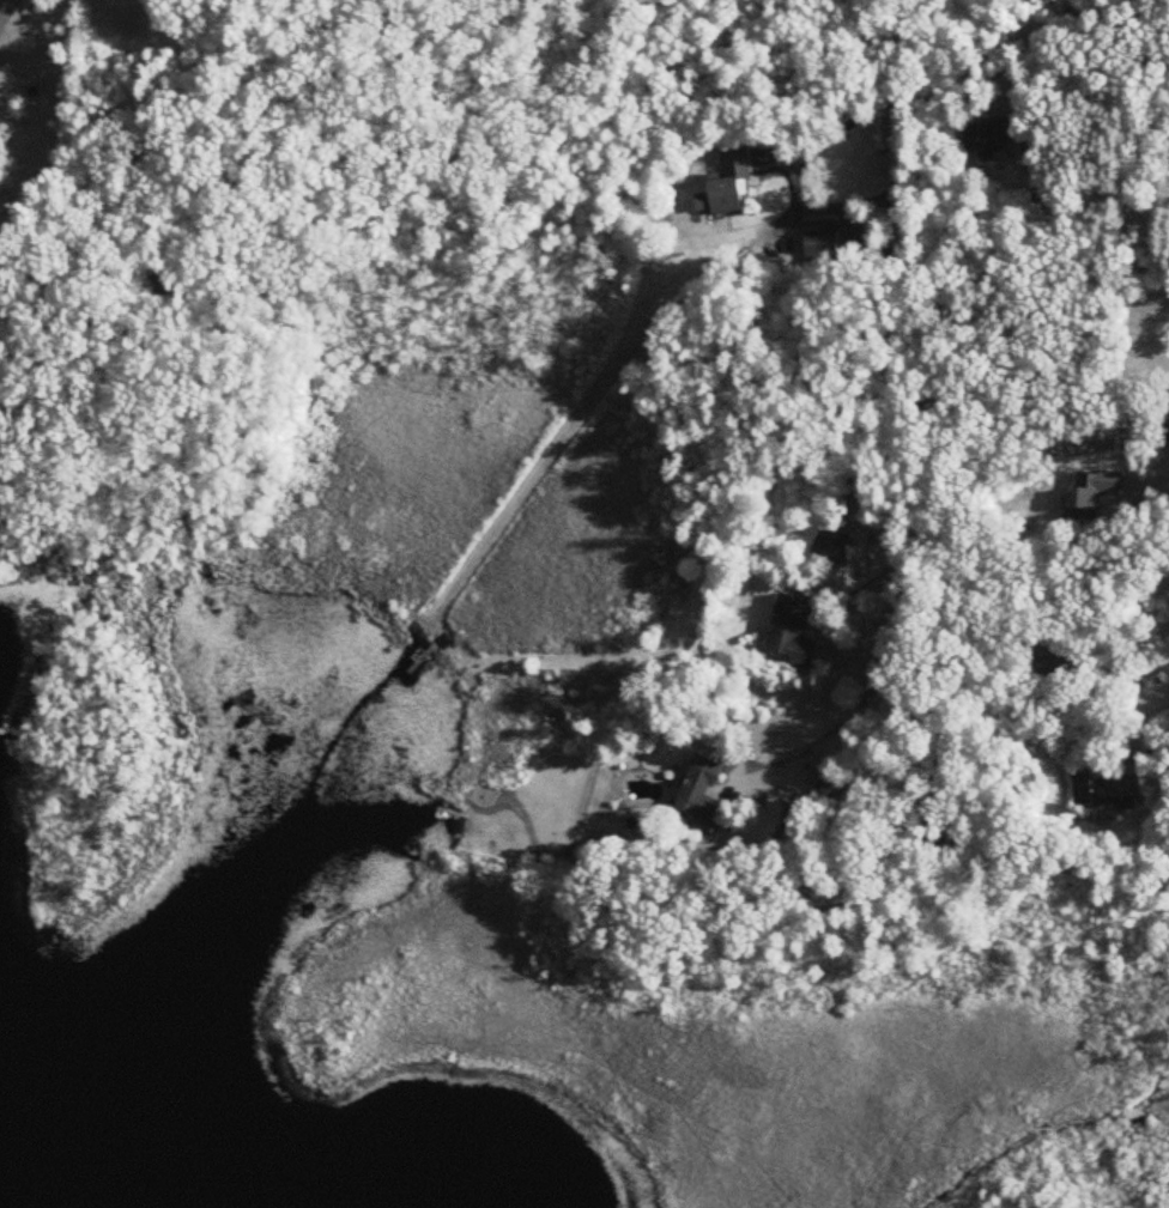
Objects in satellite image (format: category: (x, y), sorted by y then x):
road: (6, 12)
road: (1083, 12)
road: (973, 87)
road: (831, 129)
road: (121, 136)
building: (992, 138)
road: (1104, 166)
building: (729, 187)
building: (822, 248)
road: (898, 383)
road: (1162, 492)
building: (1095, 493)
building: (832, 546)
building: (792, 631)
building: (1052, 662)
road: (1159, 703)
building: (785, 735)
building: (836, 784)
building: (1108, 790)
building: (702, 796)

